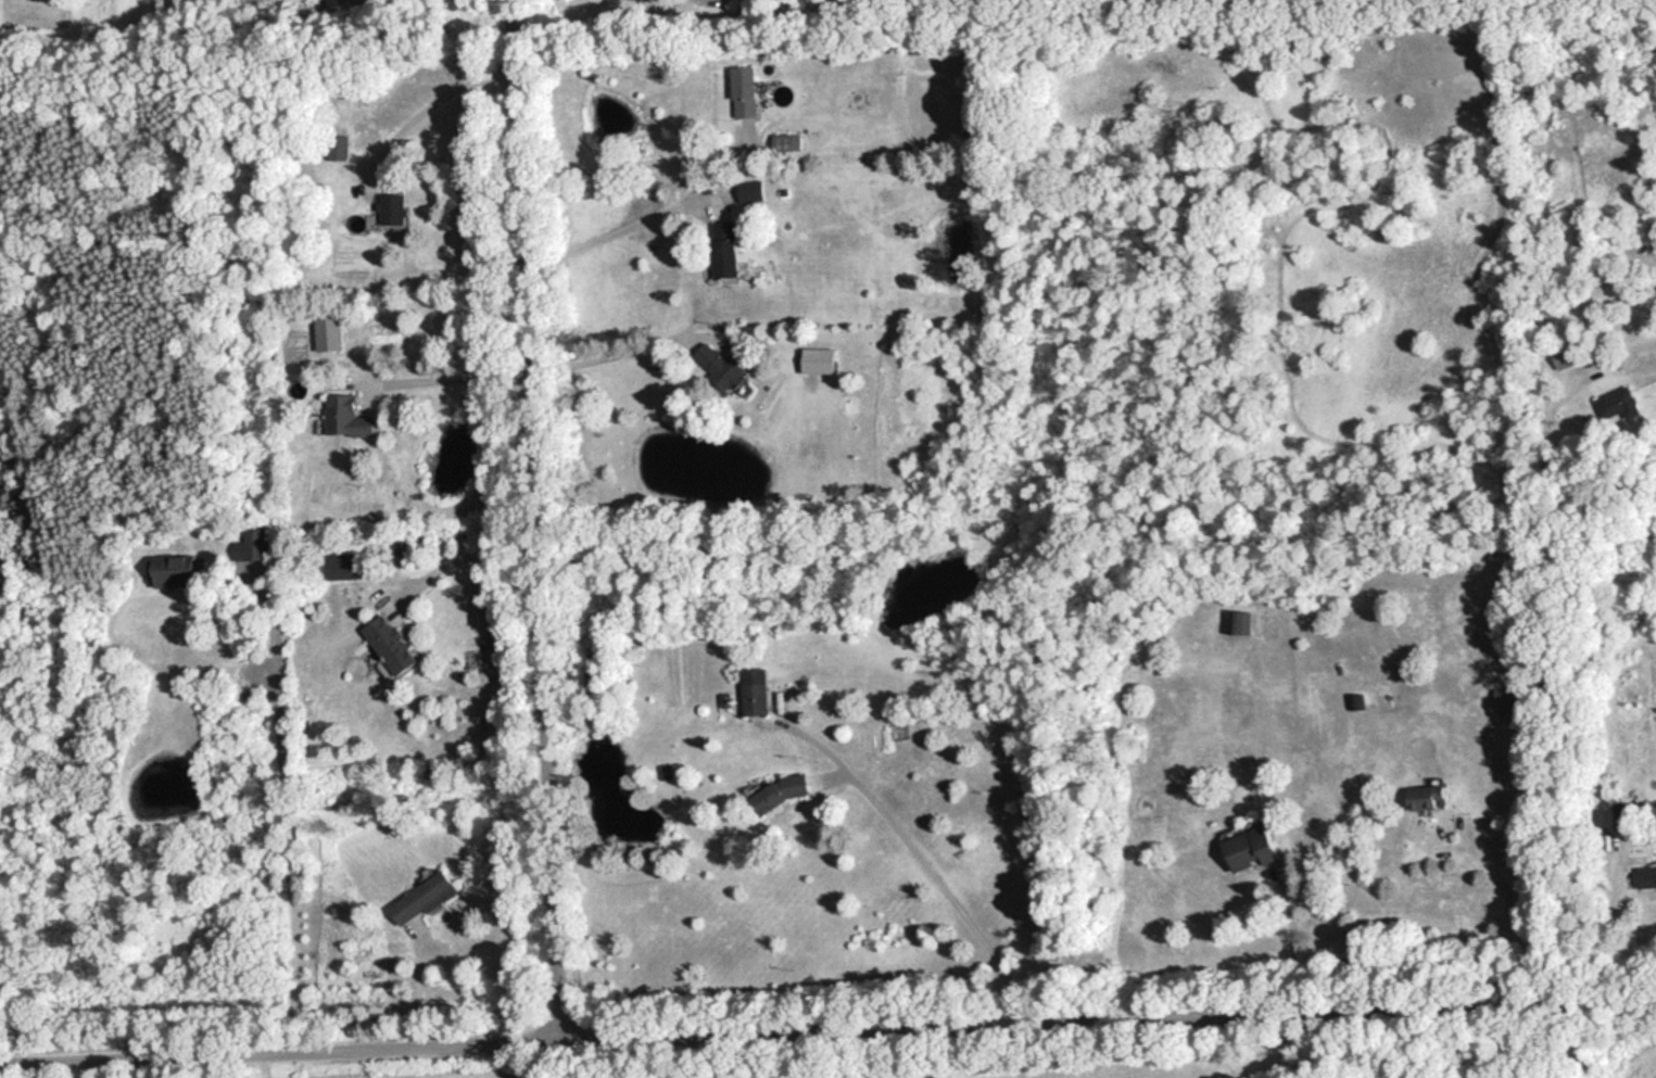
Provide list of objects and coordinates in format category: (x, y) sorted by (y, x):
building: (744, 92)
road: (432, 103)
road: (629, 161)
building: (755, 189)
building: (400, 207)
road: (622, 227)
building: (732, 248)
building: (334, 330)
building: (1567, 353)
road: (594, 356)
building: (724, 364)
road: (455, 378)
building: (1616, 403)
building: (354, 418)
road: (536, 519)
building: (252, 547)
road: (464, 556)
building: (175, 570)
building: (1236, 621)
building: (396, 643)
road: (1557, 682)
building: (760, 689)
building: (1503, 695)
building: (1354, 699)
building: (787, 790)
building: (1421, 796)
building: (1619, 813)
road: (290, 816)
building: (1244, 848)
building: (1644, 873)
road: (939, 880)
building: (427, 897)
road: (827, 1026)

